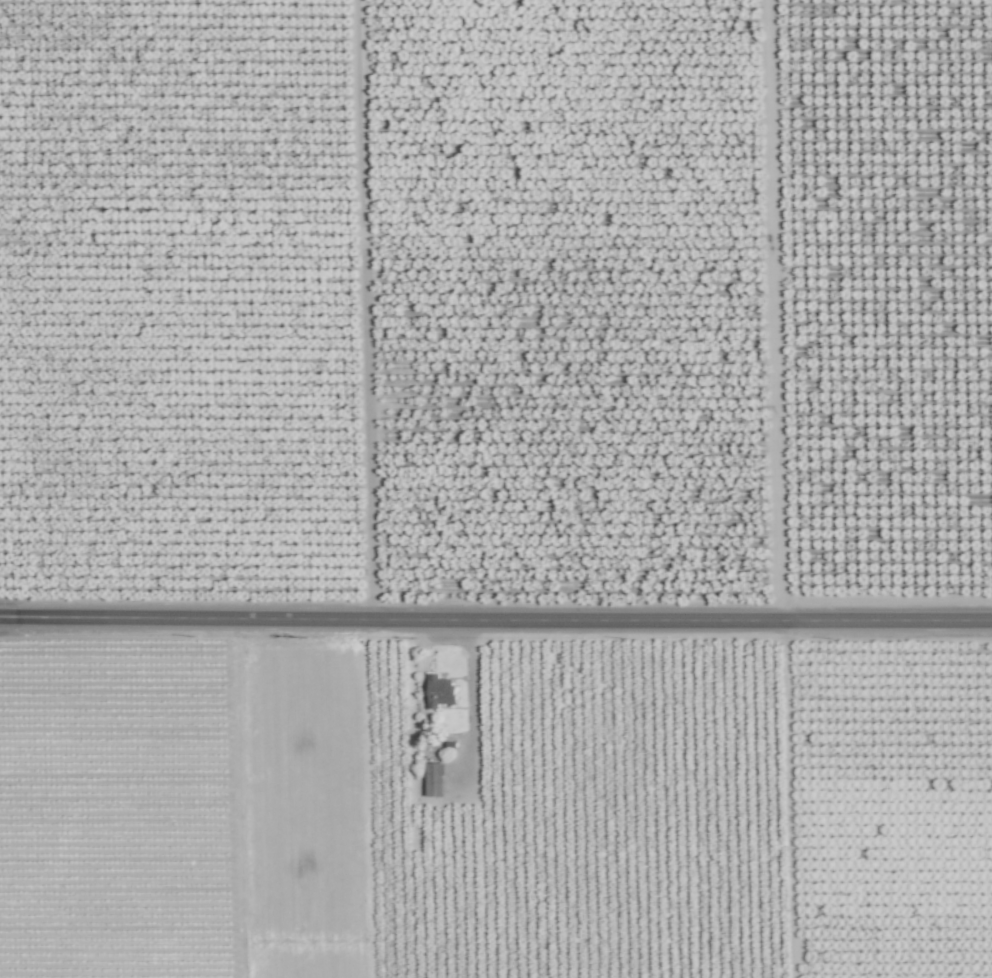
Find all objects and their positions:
road: (496, 617)
building: (439, 690)
building: (433, 779)

